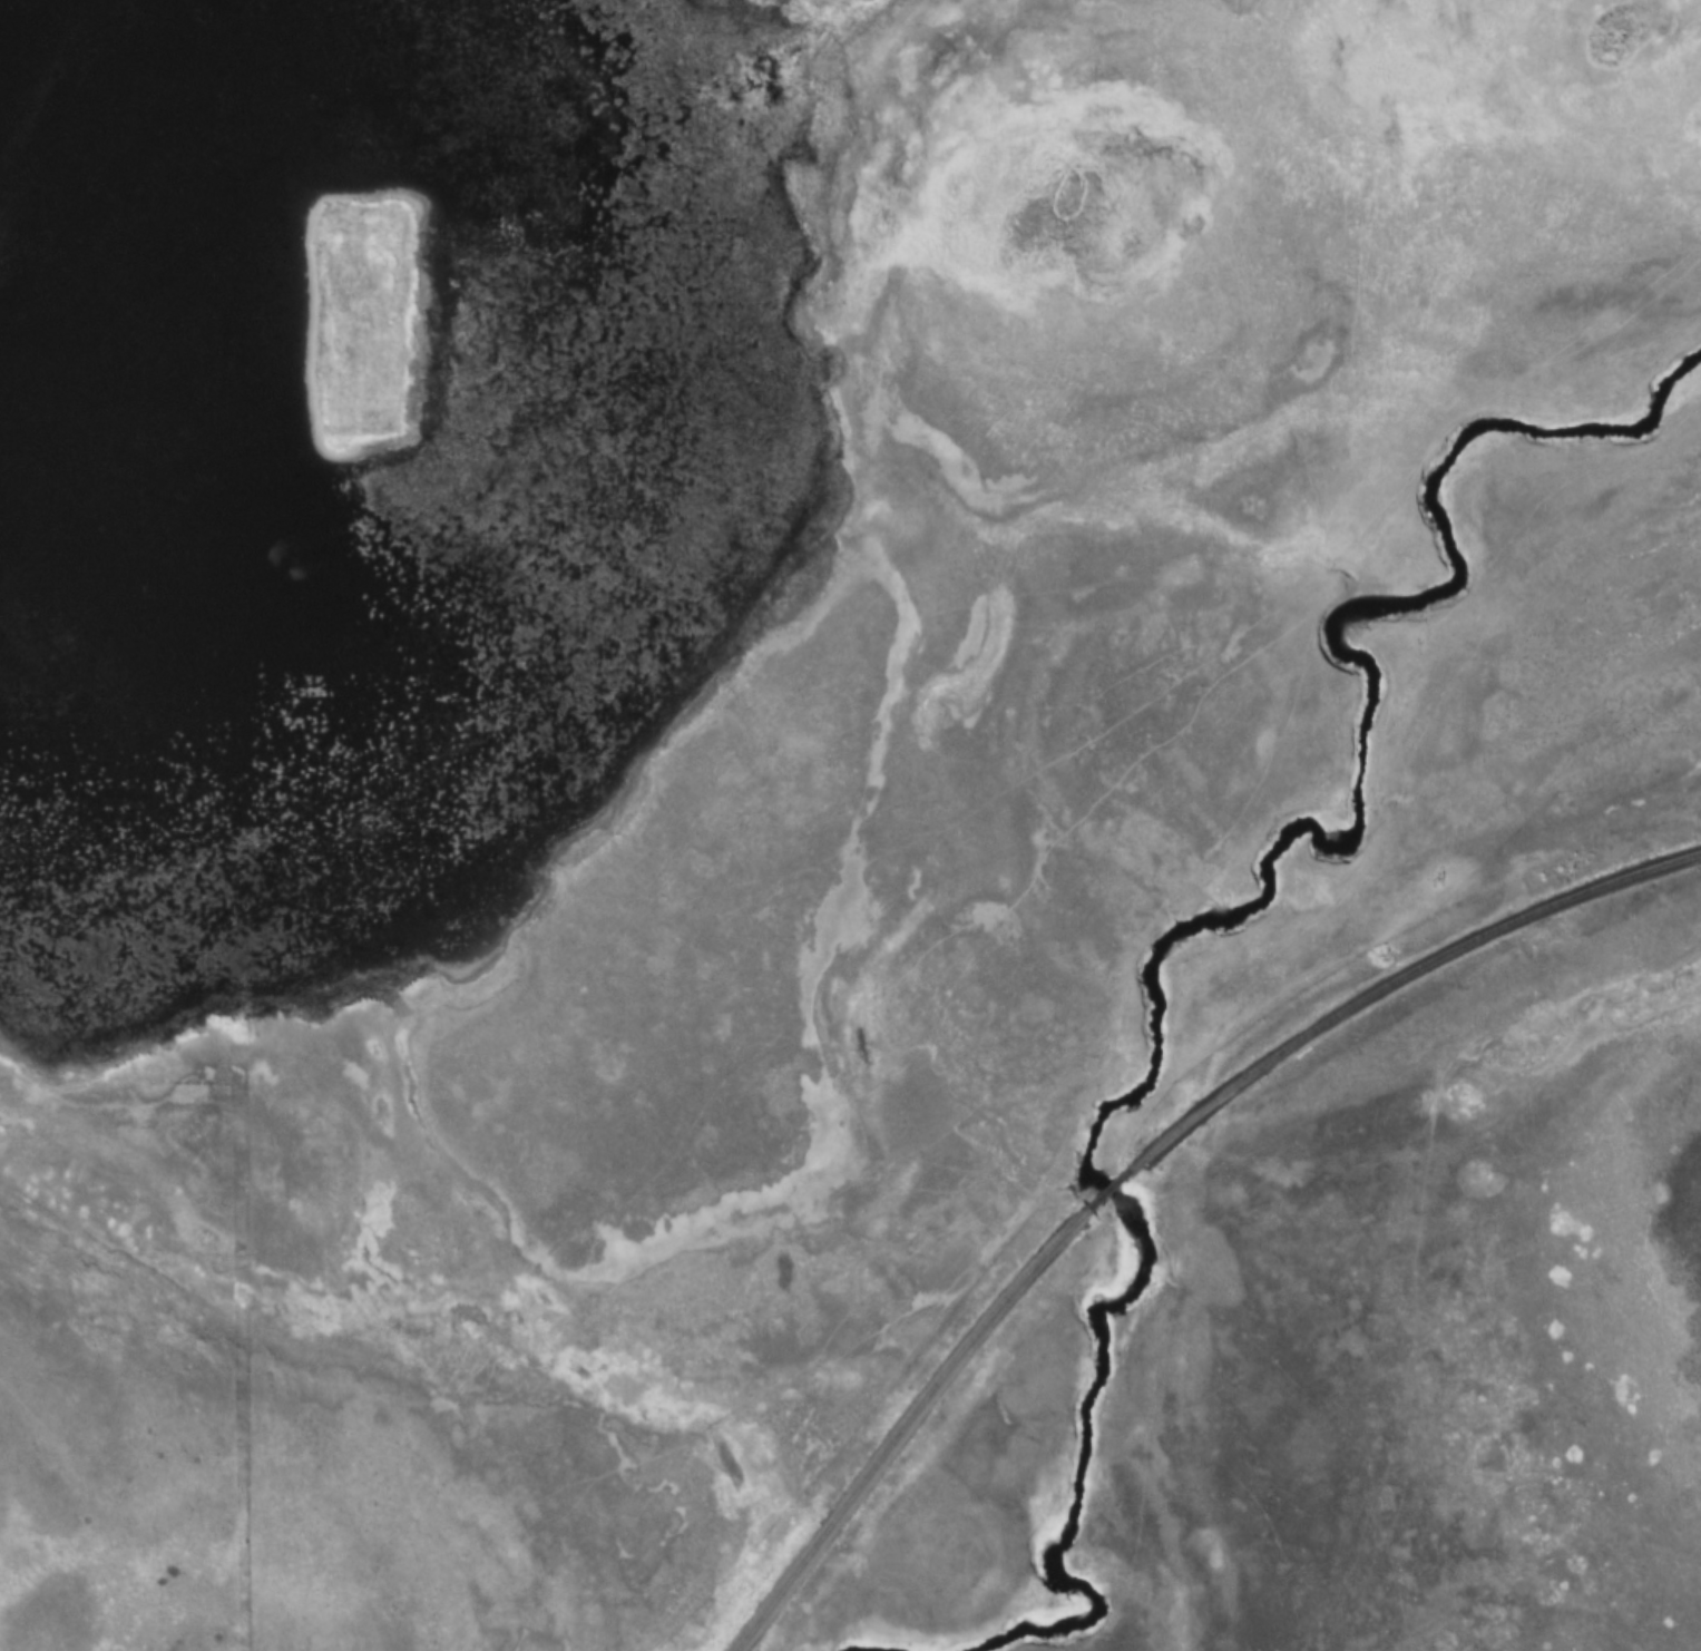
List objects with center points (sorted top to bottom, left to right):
railway: (1148, 1171)

